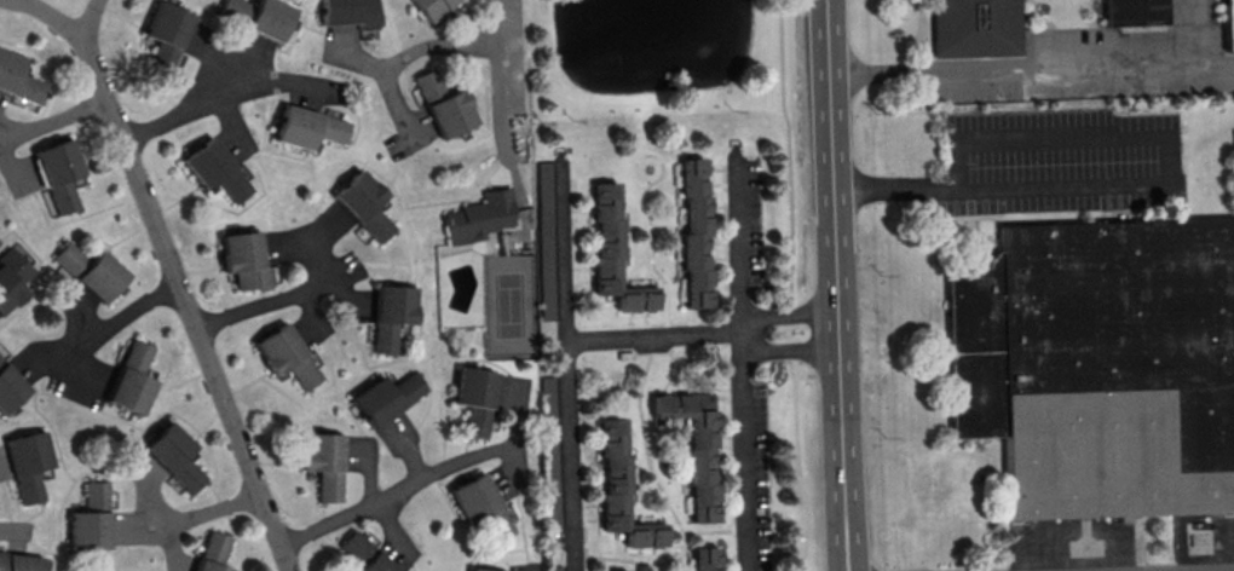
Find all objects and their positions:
building: (429, 7)
building: (1134, 13)
building: (348, 15)
building: (267, 18)
road: (57, 21)
building: (1229, 25)
building: (976, 29)
building: (163, 36)
road: (399, 53)
road: (354, 56)
road: (1031, 73)
building: (17, 79)
building: (427, 85)
road: (502, 91)
road: (223, 97)
road: (219, 103)
building: (449, 114)
road: (52, 116)
building: (307, 127)
building: (214, 169)
road: (8, 171)
building: (56, 174)
road: (1151, 185)
building: (362, 203)
building: (542, 208)
building: (479, 217)
building: (693, 232)
building: (612, 252)
building: (244, 260)
building: (18, 271)
building: (88, 271)
road: (834, 284)
road: (177, 285)
building: (7, 290)
road: (286, 294)
road: (785, 312)
building: (391, 315)
road: (116, 318)
road: (652, 335)
road: (784, 350)
building: (284, 354)
road: (742, 368)
road: (563, 369)
building: (1101, 370)
building: (129, 379)
building: (8, 387)
building: (386, 397)
building: (474, 398)
building: (693, 446)
building: (172, 456)
building: (322, 462)
building: (27, 463)
building: (621, 489)
road: (393, 490)
building: (480, 506)
road: (204, 511)
building: (88, 518)
building: (212, 552)
building: (704, 558)
building: (368, 559)
building: (19, 561)
building: (480, 569)
road: (1229, 570)

